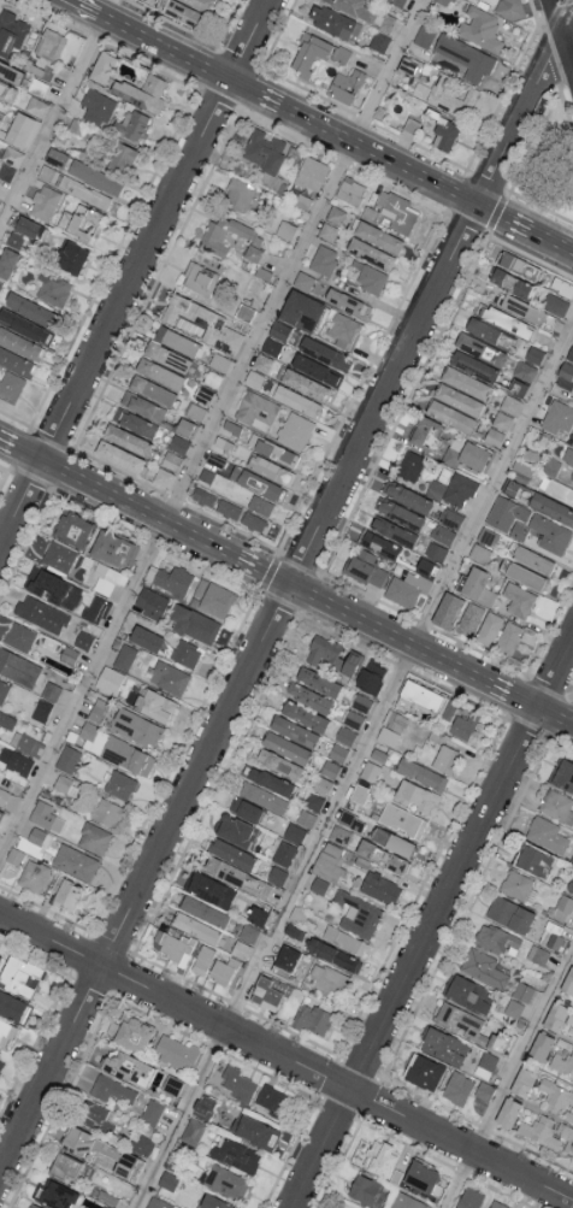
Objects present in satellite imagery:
building: (444, 1)
building: (200, 4)
road: (84, 7)
building: (178, 10)
building: (510, 10)
road: (567, 14)
building: (331, 19)
building: (482, 30)
building: (11, 33)
building: (425, 37)
building: (379, 40)
building: (51, 43)
building: (315, 53)
building: (465, 58)
building: (102, 65)
building: (10, 71)
building: (345, 84)
building: (2, 88)
building: (142, 92)
building: (445, 99)
building: (36, 105)
building: (98, 106)
road: (57, 116)
building: (0, 118)
building: (131, 124)
building: (22, 129)
road: (336, 132)
building: (448, 136)
building: (264, 149)
building: (12, 155)
building: (120, 155)
building: (55, 157)
park: (547, 165)
building: (312, 172)
building: (95, 176)
building: (73, 185)
building: (238, 194)
building: (352, 194)
building: (45, 201)
building: (394, 213)
building: (336, 217)
building: (81, 222)
building: (25, 225)
building: (285, 229)
building: (221, 232)
building: (329, 234)
building: (16, 238)
building: (379, 238)
building: (253, 252)
building: (372, 255)
building: (70, 257)
building: (324, 259)
building: (6, 260)
building: (521, 269)
road: (135, 273)
building: (370, 276)
building: (200, 277)
building: (303, 279)
building: (0, 283)
building: (513, 285)
building: (53, 288)
building: (563, 289)
building: (348, 302)
building: (555, 306)
building: (30, 308)
building: (301, 310)
building: (244, 312)
building: (528, 313)
building: (201, 322)
building: (508, 323)
building: (24, 325)
building: (279, 329)
building: (343, 329)
building: (491, 335)
building: (176, 340)
building: (20, 343)
building: (271, 346)
building: (480, 348)
building: (325, 353)
building: (569, 353)
building: (166, 355)
building: (16, 361)
building: (266, 361)
building: (473, 365)
building: (317, 369)
building: (160, 372)
building: (565, 375)
building: (254, 378)
building: (465, 382)
building: (305, 384)
building: (11, 385)
building: (152, 389)
building: (457, 399)
building: (296, 400)
building: (143, 405)
building: (508, 405)
building: (256, 409)
building: (450, 414)
building: (557, 418)
building: (134, 422)
building: (501, 422)
building: (184, 425)
road: (211, 429)
building: (231, 430)
building: (295, 430)
building: (425, 432)
building: (126, 438)
building: (179, 443)
building: (215, 454)
building: (118, 455)
building: (467, 455)
building: (568, 455)
building: (171, 460)
building: (410, 465)
building: (522, 466)
building: (164, 476)
building: (572, 477)
building: (454, 488)
building: (519, 490)
building: (203, 495)
building: (406, 496)
building: (260, 503)
building: (553, 507)
building: (228, 508)
building: (400, 513)
building: (450, 517)
building: (253, 520)
building: (527, 524)
building: (72, 528)
building: (392, 530)
building: (443, 534)
building: (379, 543)
building: (113, 548)
building: (436, 550)
building: (59, 555)
building: (533, 559)
building: (365, 567)
building: (525, 574)
building: (173, 579)
road: (286, 581)
building: (478, 585)
building: (53, 588)
building: (406, 588)
building: (213, 597)
road: (286, 597)
building: (519, 599)
building: (149, 601)
building: (96, 608)
building: (447, 609)
building: (41, 613)
building: (471, 618)
building: (194, 623)
building: (489, 627)
building: (19, 636)
building: (146, 637)
building: (509, 637)
building: (185, 653)
building: (332, 655)
building: (124, 656)
building: (18, 667)
building: (371, 674)
building: (170, 677)
building: (108, 679)
building: (318, 682)
building: (4, 690)
building: (51, 690)
building: (308, 696)
building: (419, 699)
building: (154, 703)
building: (41, 709)
building: (99, 709)
building: (303, 715)
building: (7, 719)
building: (460, 720)
building: (136, 727)
building: (391, 727)
building: (293, 730)
building: (26, 743)
building: (284, 747)
building: (117, 749)
building: (337, 752)
building: (67, 758)
building: (445, 759)
building: (19, 762)
building: (279, 764)
road: (355, 767)
building: (330, 768)
building: (370, 771)
building: (421, 773)
building: (562, 773)
building: (270, 780)
building: (63, 783)
building: (120, 784)
building: (321, 784)
building: (359, 792)
building: (2, 795)
building: (415, 795)
building: (264, 797)
building: (314, 801)
building: (557, 806)
building: (244, 808)
building: (107, 812)
building: (0, 813)
building: (46, 815)
building: (306, 818)
building: (402, 819)
building: (234, 829)
building: (294, 832)
building: (339, 833)
building: (547, 833)
building: (40, 836)
building: (94, 837)
building: (394, 842)
building: (231, 853)
building: (283, 853)
building: (384, 858)
building: (13, 859)
building: (534, 860)
building: (75, 861)
building: (329, 862)
building: (224, 870)
building: (33, 874)
building: (277, 874)
building: (319, 885)
building: (518, 885)
building: (571, 885)
building: (379, 888)
building: (209, 889)
building: (66, 894)
building: (563, 907)
building: (203, 911)
building: (509, 913)
building: (358, 914)
road: (433, 925)
building: (195, 927)
building: (249, 932)
building: (345, 939)
building: (173, 947)
building: (241, 949)
building: (333, 954)
building: (202, 959)
building: (285, 959)
building: (483, 967)
building: (223, 971)
building: (18, 974)
building: (329, 978)
building: (568, 982)
building: (266, 992)
building: (466, 992)
building: (11, 1006)
building: (569, 1017)
building: (312, 1019)
building: (457, 1020)
building: (548, 1031)
building: (6, 1032)
building: (132, 1033)
building: (443, 1045)
building: (176, 1051)
road: (286, 1056)
building: (562, 1057)
building: (0, 1062)
building: (486, 1062)
building: (124, 1065)
building: (424, 1071)
road: (508, 1077)
building: (237, 1083)
building: (522, 1083)
building: (457, 1088)
building: (113, 1090)
building: (484, 1090)
building: (556, 1096)
building: (272, 1100)
building: (205, 1106)
building: (152, 1112)
building: (508, 1112)
building: (96, 1118)
building: (193, 1131)
building: (255, 1131)
building: (550, 1131)
building: (76, 1139)
building: (142, 1144)
building: (236, 1155)
building: (379, 1156)
building: (124, 1165)
building: (64, 1167)
building: (421, 1175)
building: (226, 1182)
building: (366, 1190)
building: (57, 1195)
building: (469, 1198)
building: (407, 1201)
building: (213, 1202)
building: (156, 1203)
building: (497, 1204)
building: (33, 1206)
building: (102, 1207)

